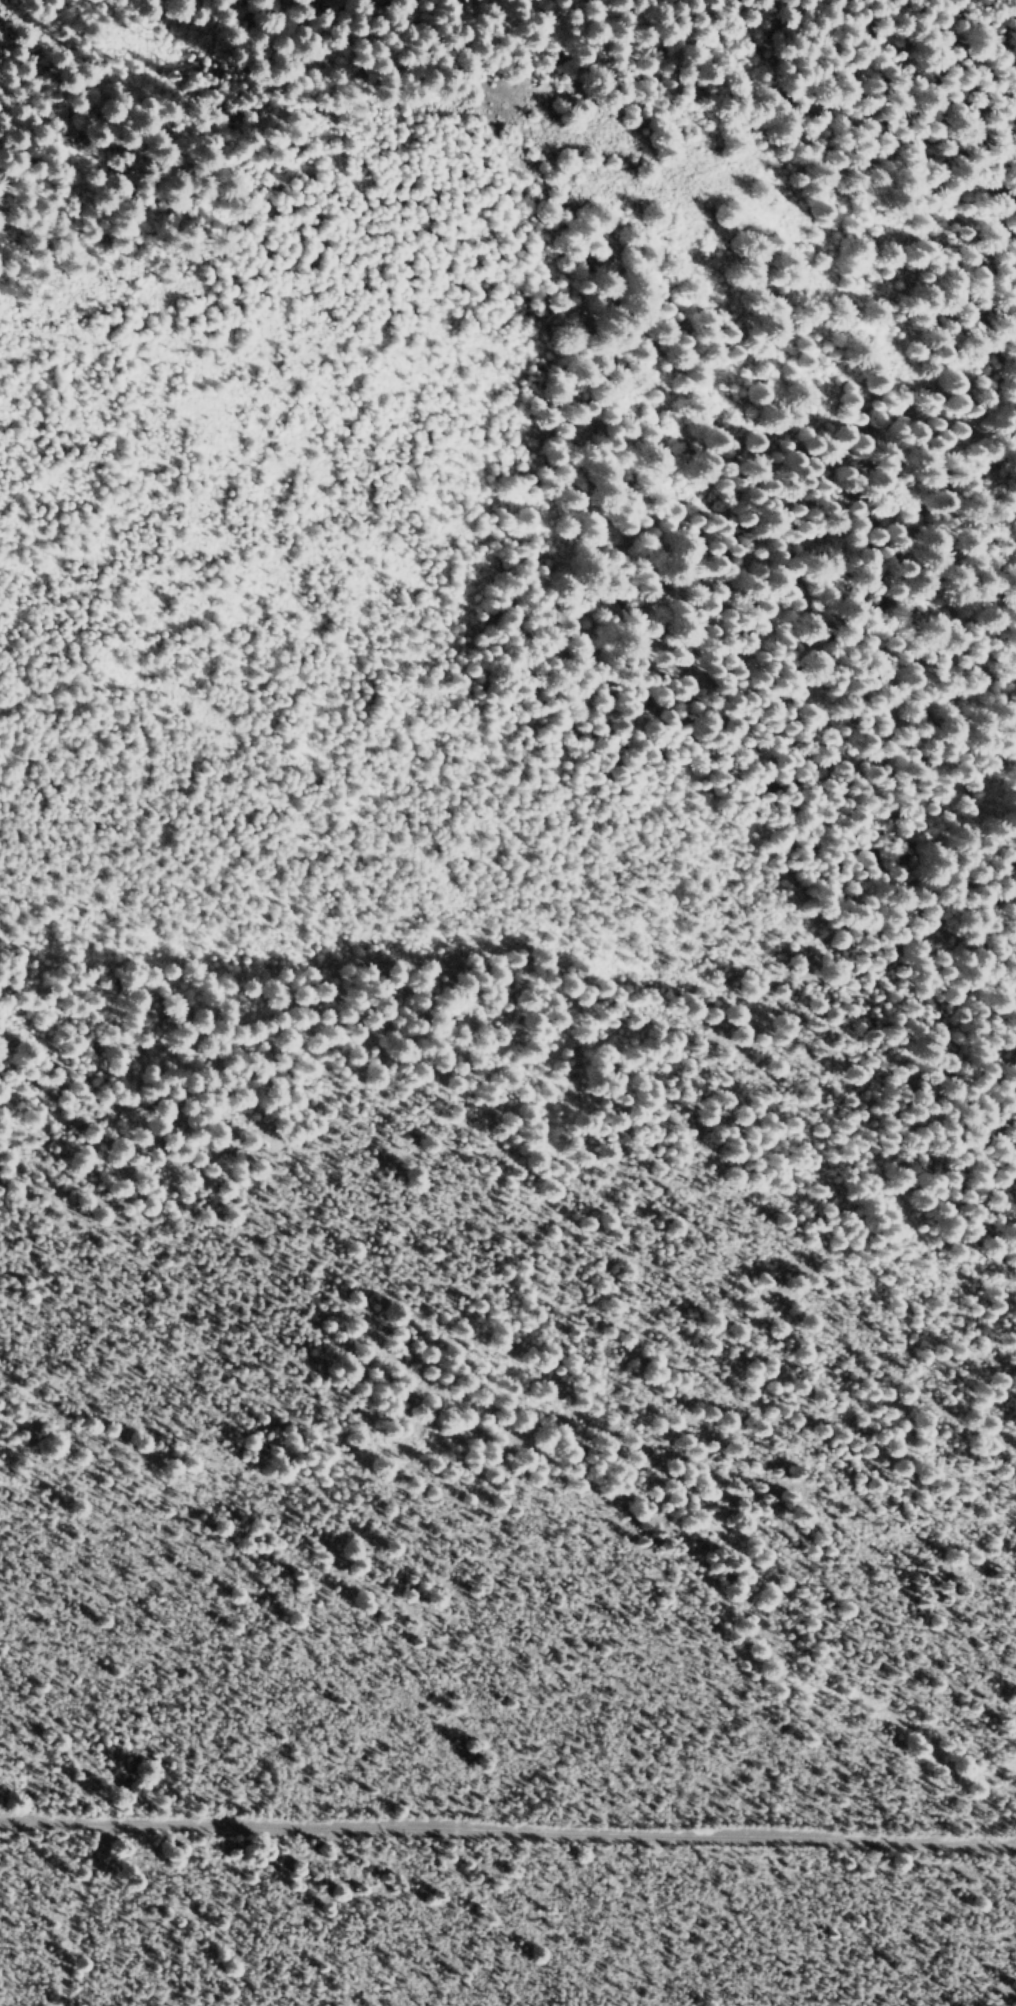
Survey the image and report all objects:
road: (508, 1836)

